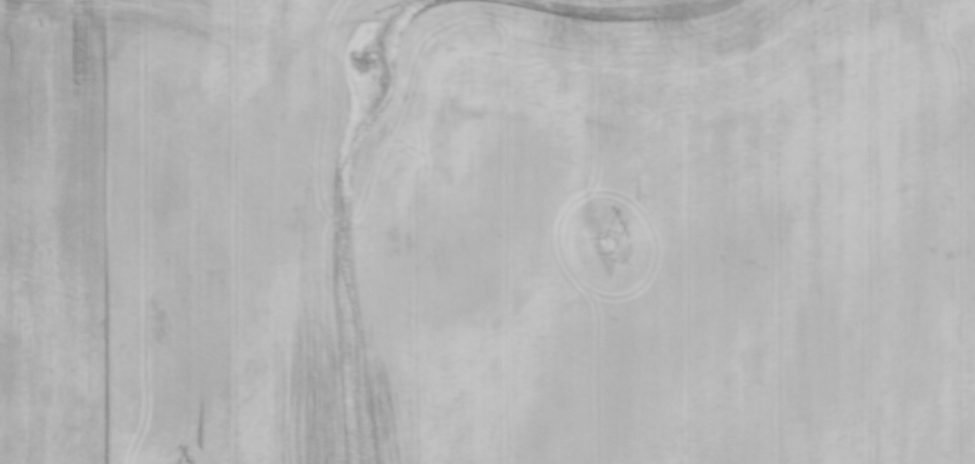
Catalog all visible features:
power tower: (606, 248)

